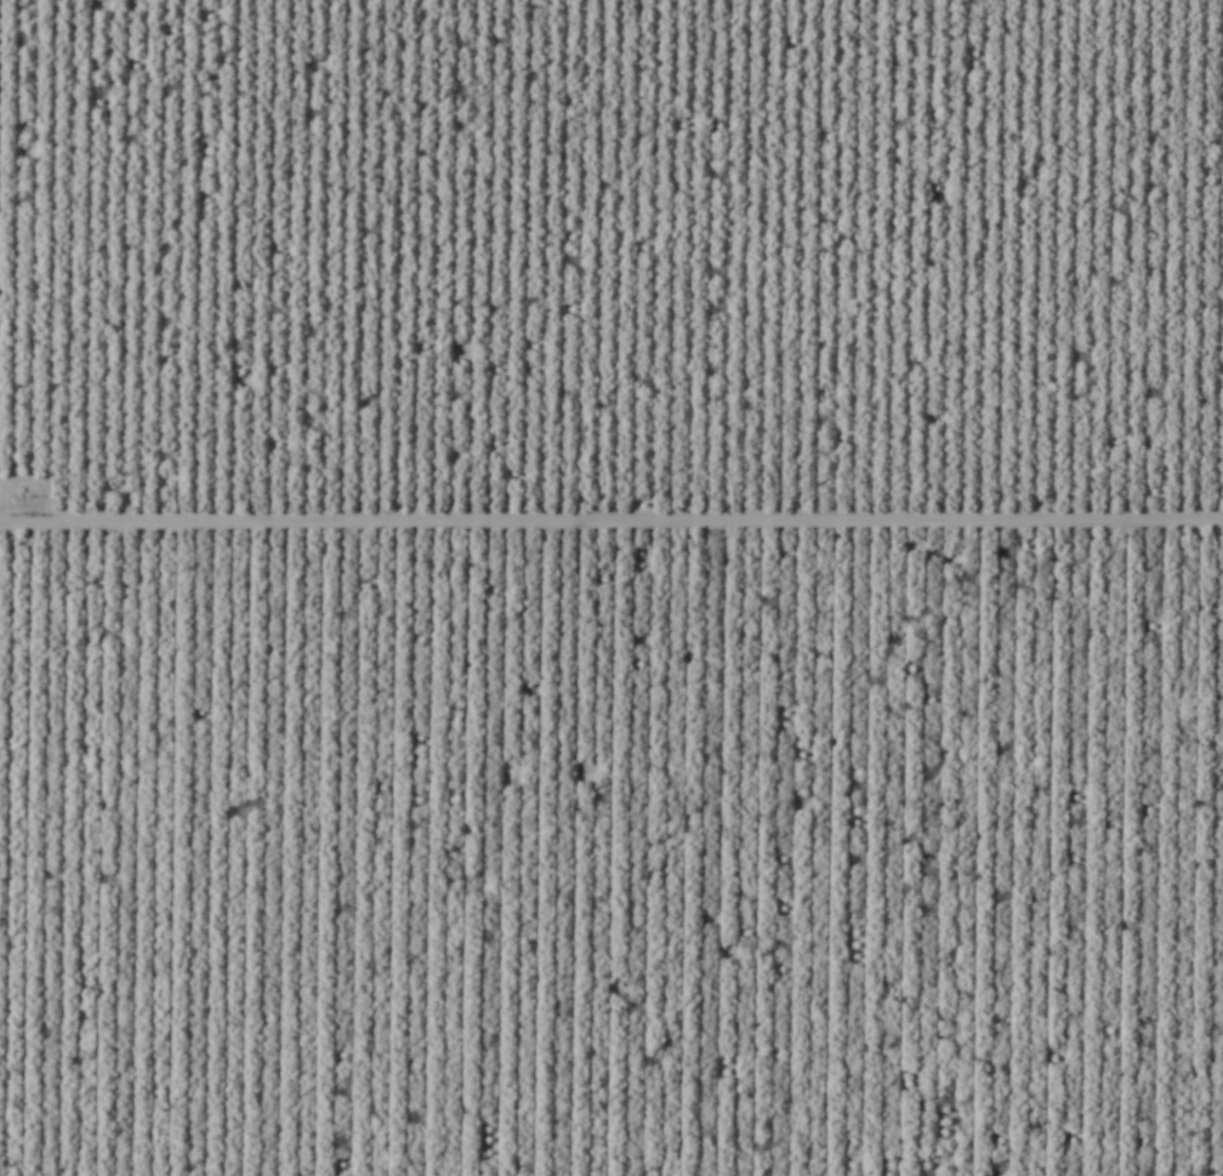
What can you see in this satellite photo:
road: (73, 11)
road: (530, 12)
road: (215, 23)
road: (611, 512)
crop: (611, 587)
road: (611, 597)

